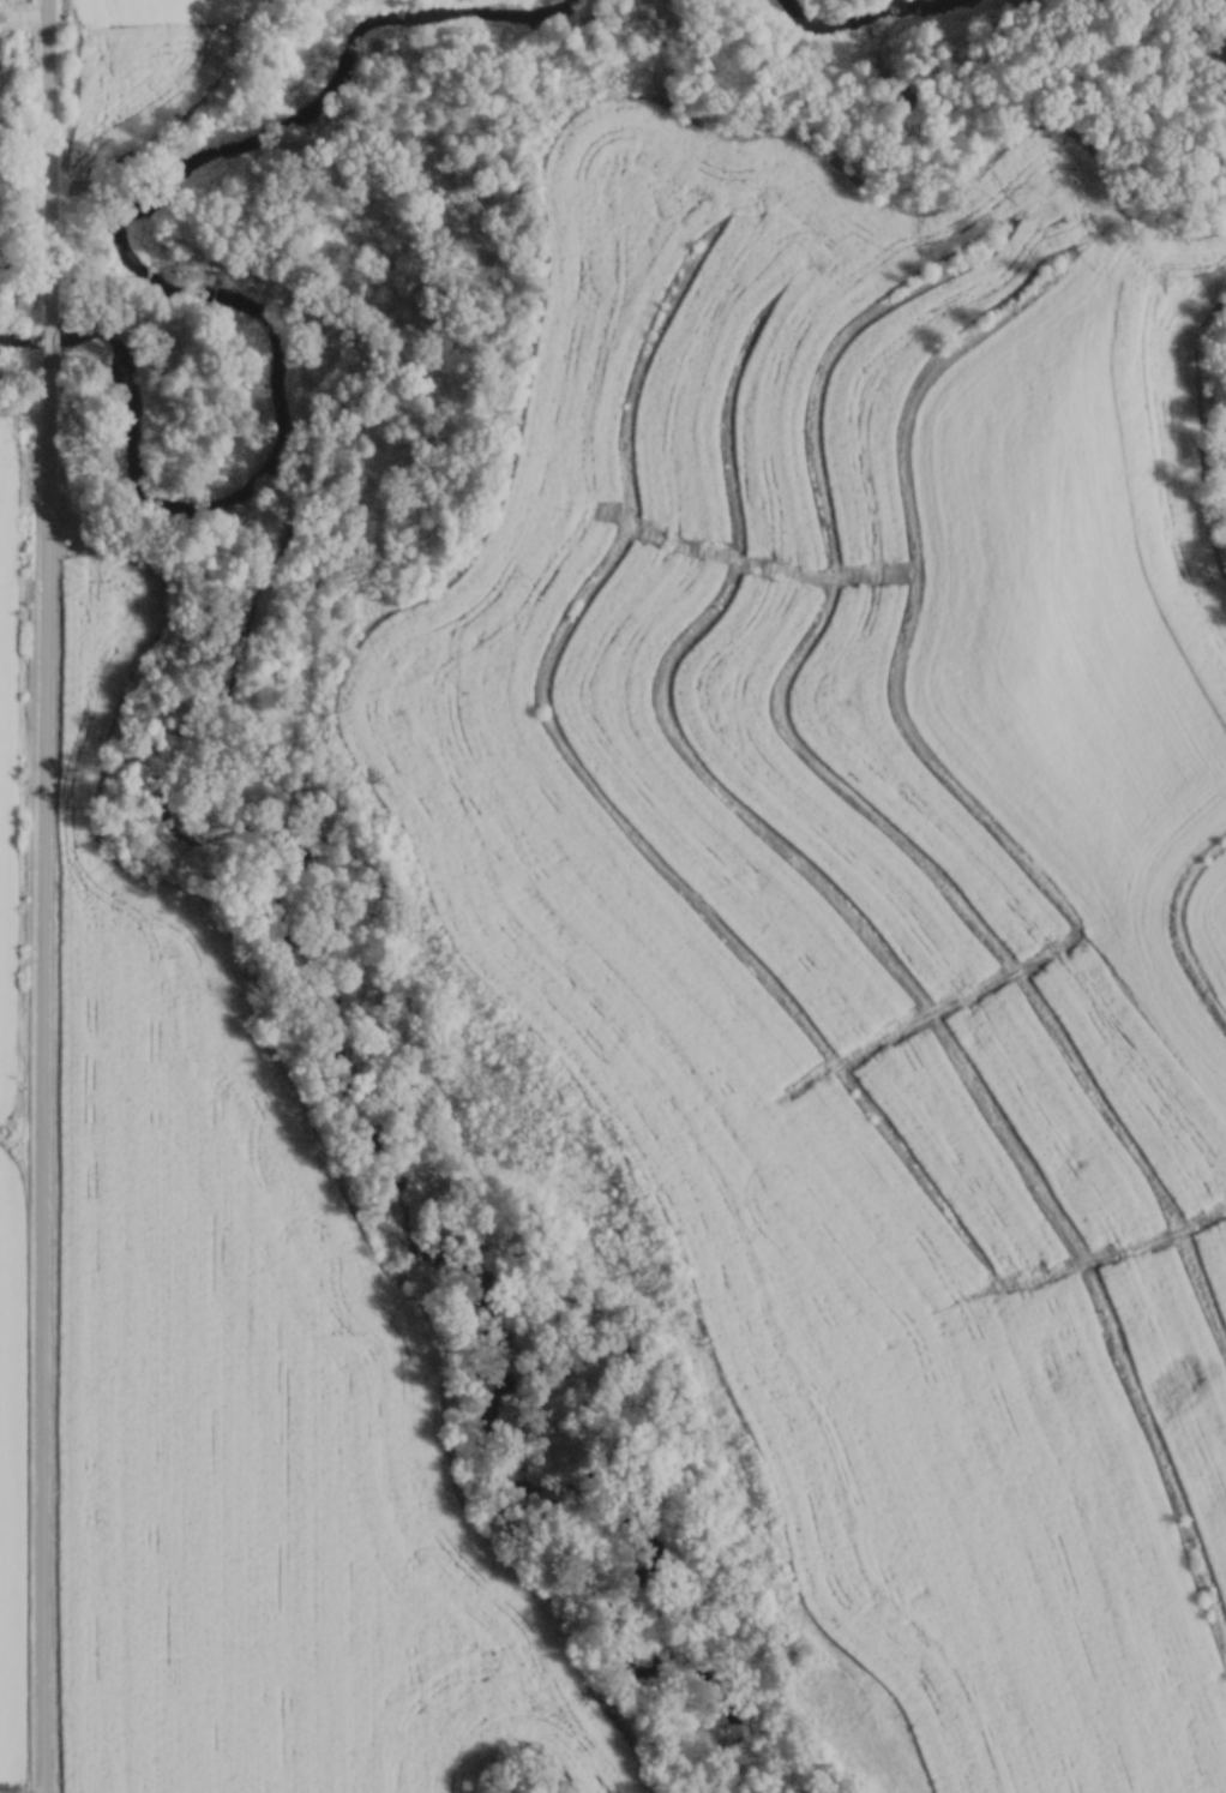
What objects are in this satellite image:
road: (49, 155)
road: (50, 343)
road: (44, 1084)

